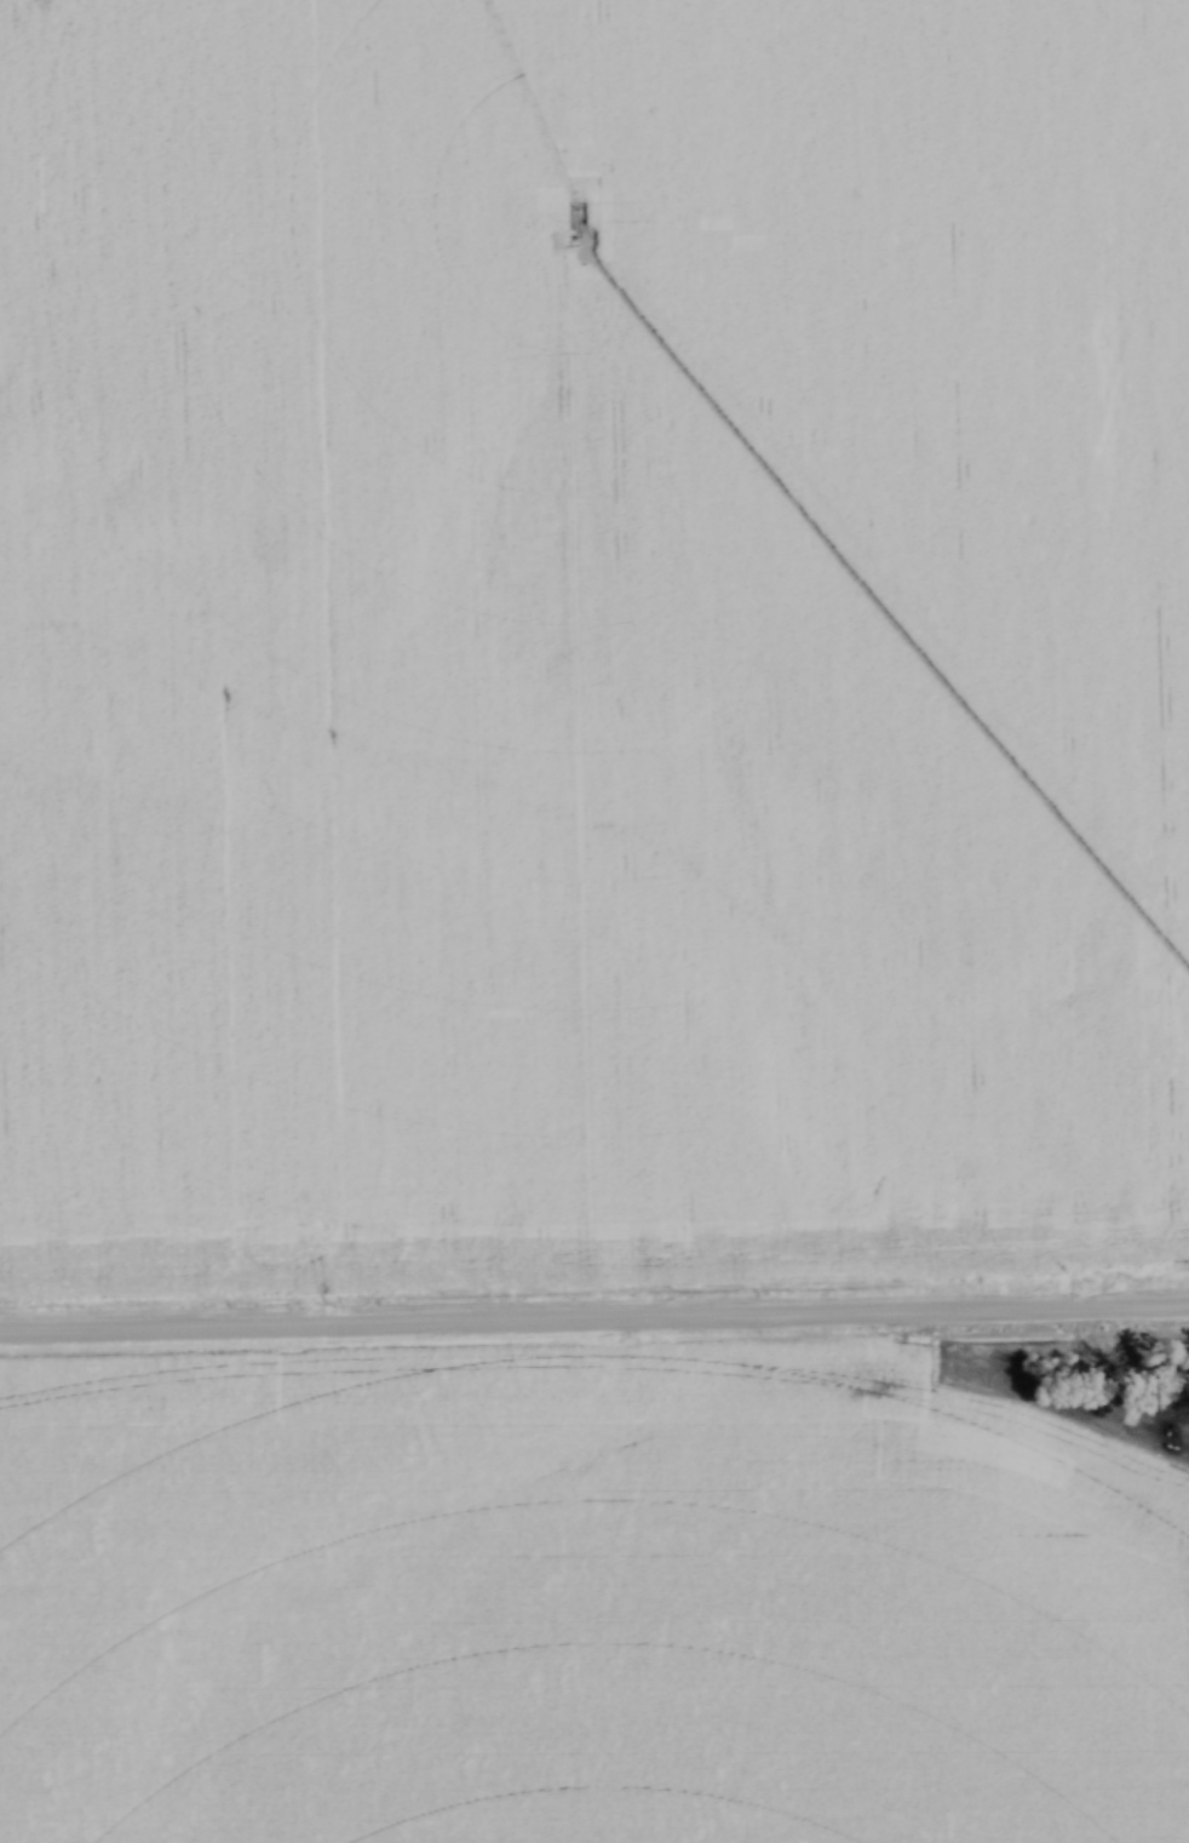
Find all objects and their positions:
road: (593, 1324)

